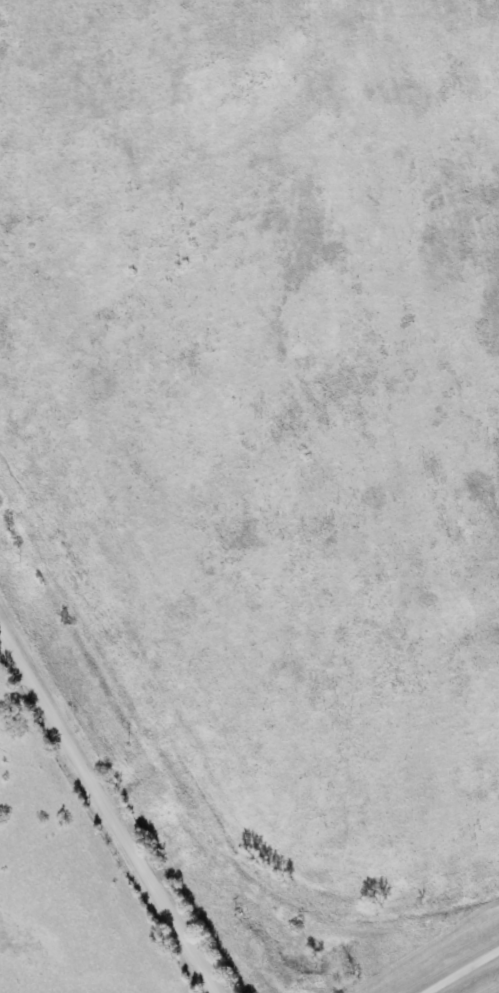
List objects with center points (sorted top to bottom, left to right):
road: (108, 810)
road: (464, 973)

